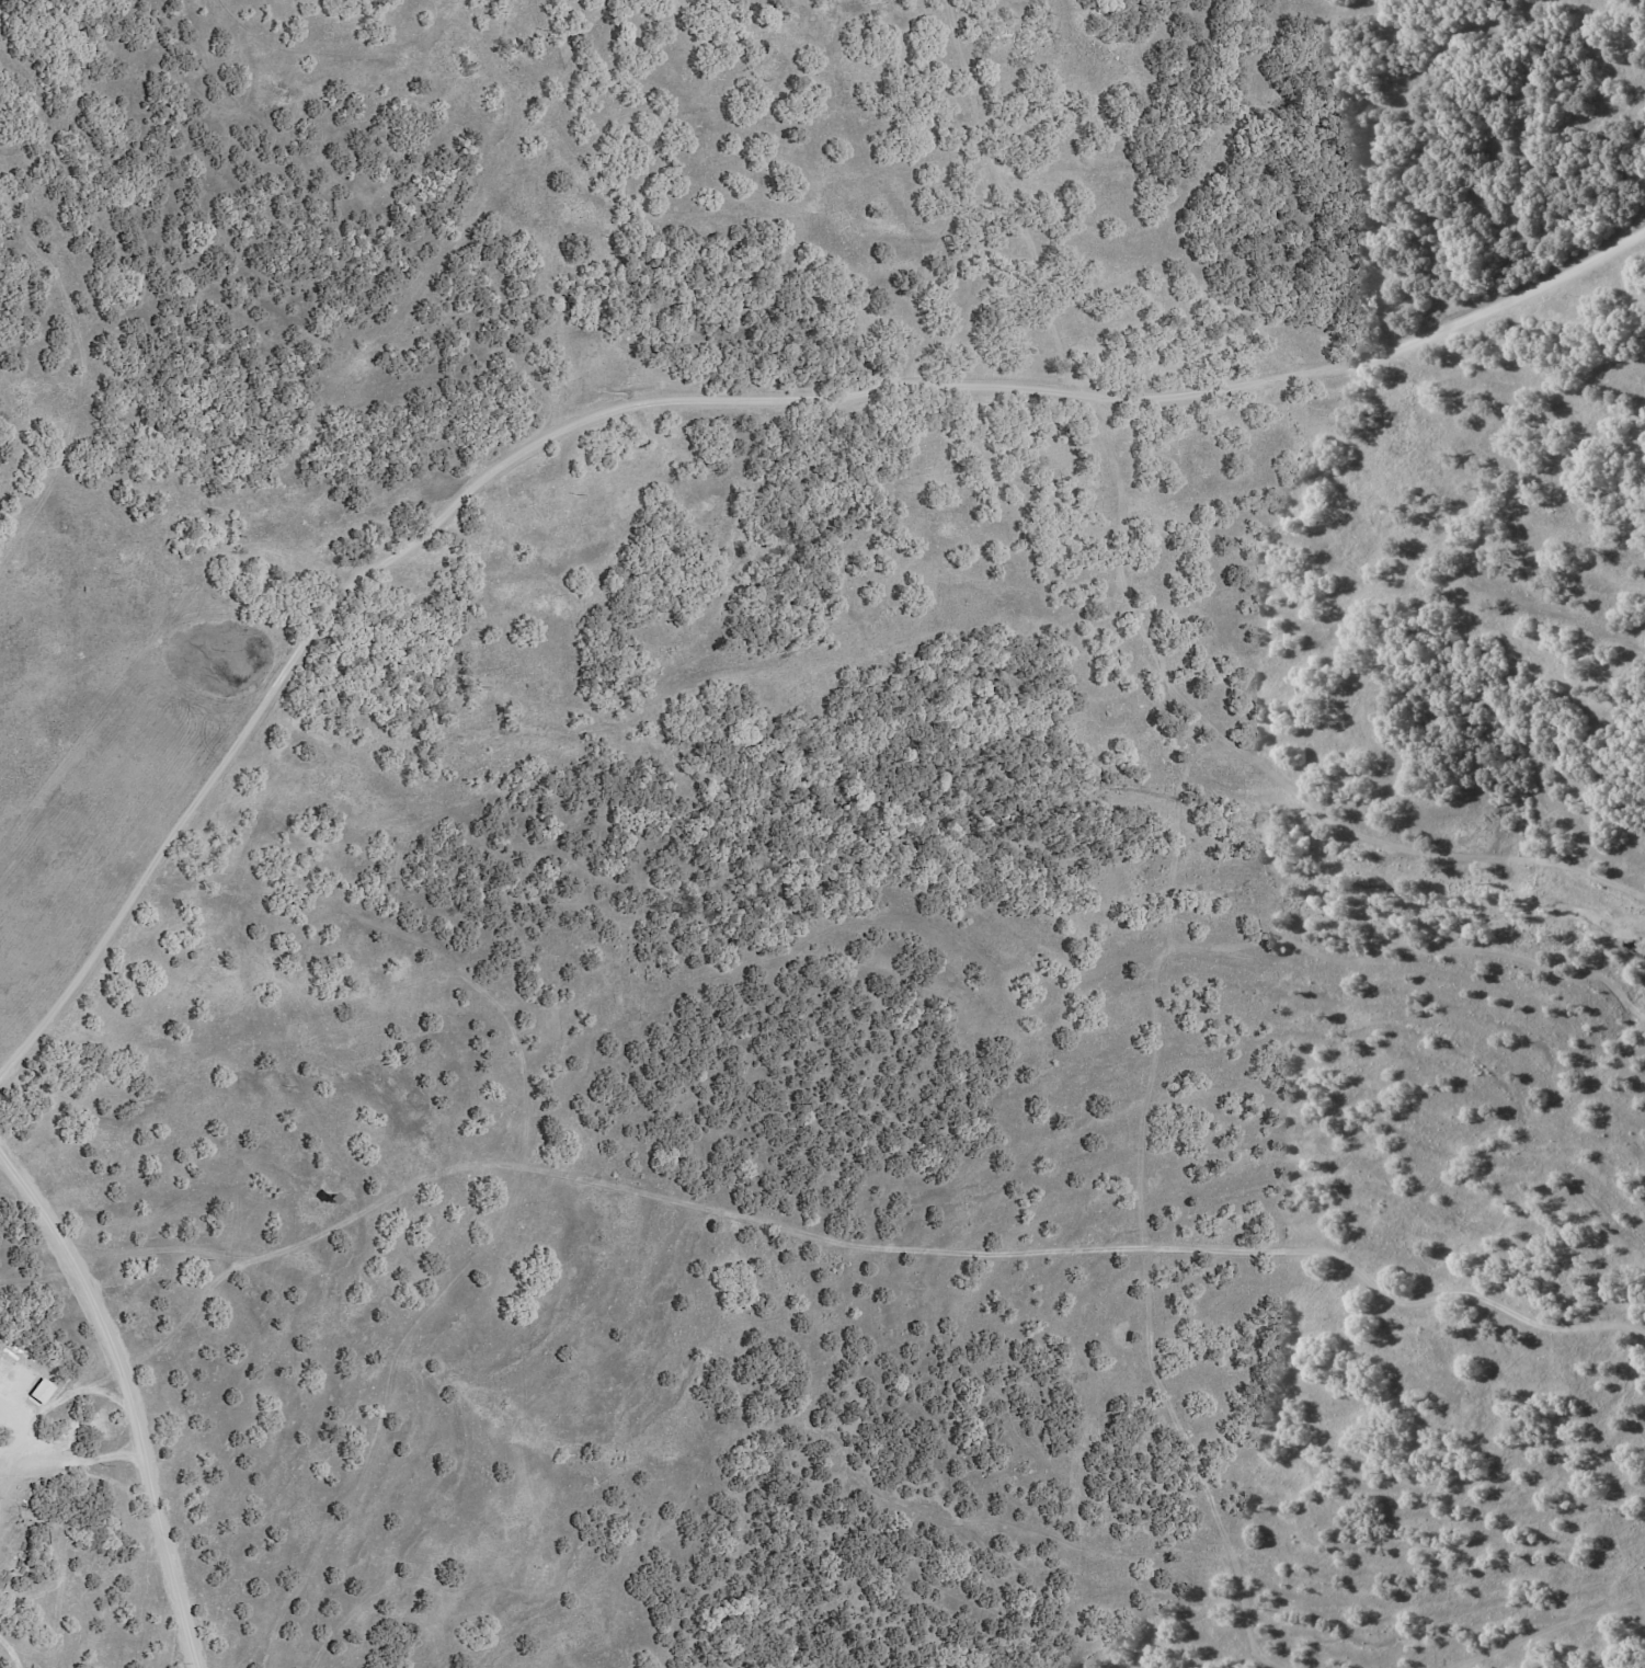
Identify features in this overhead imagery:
road: (115, 1368)
building: (38, 1392)
road: (26, 1461)
road: (165, 1560)

